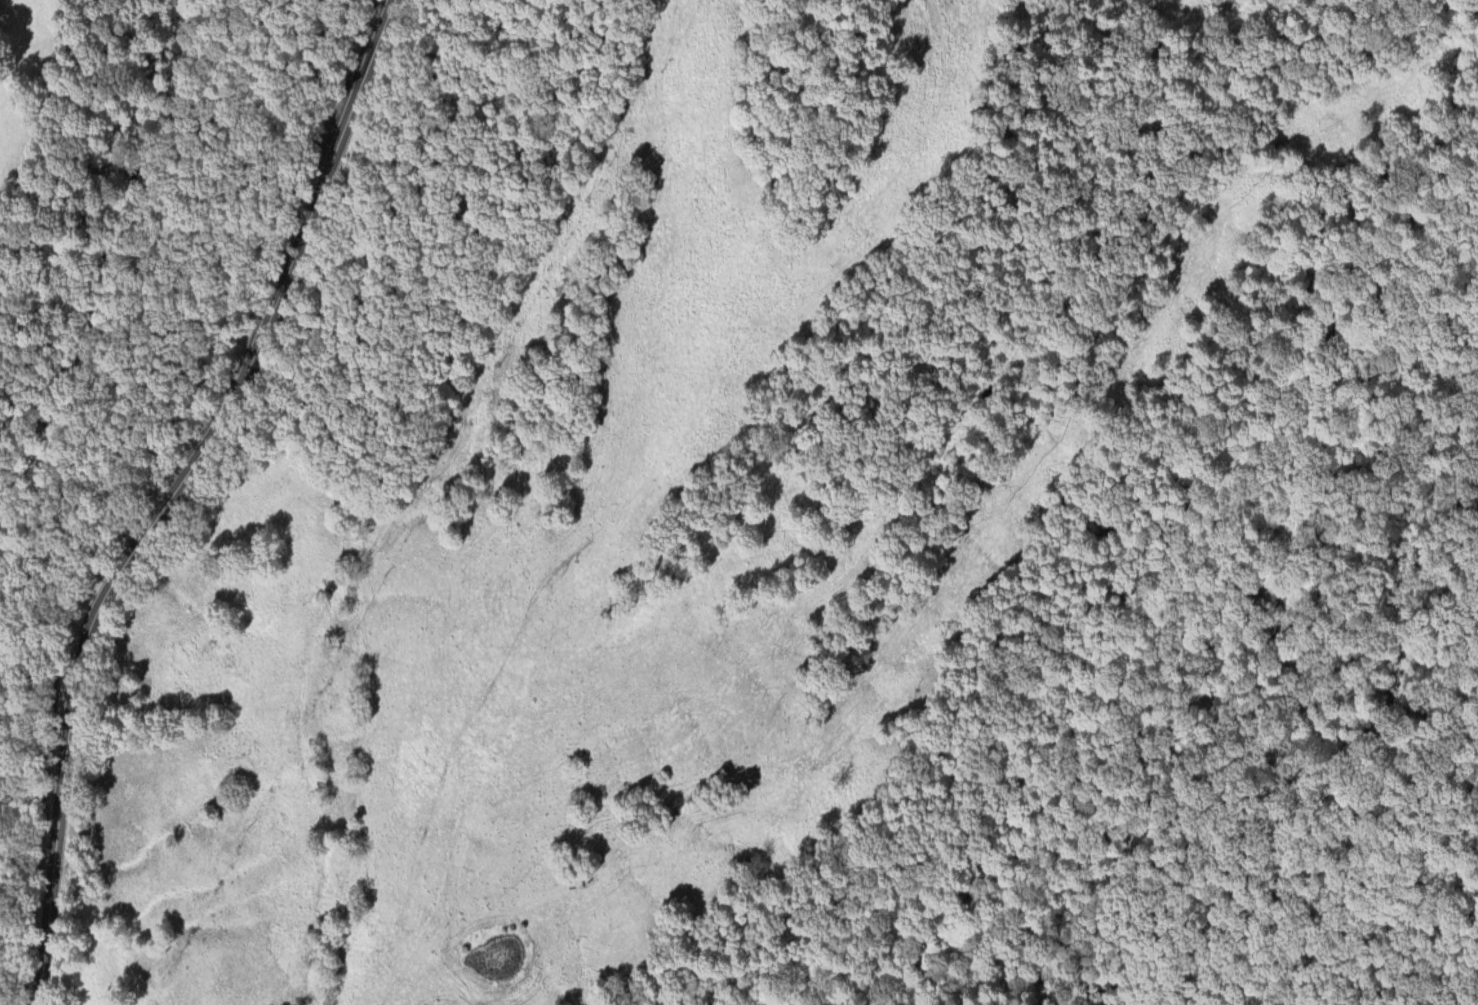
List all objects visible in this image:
road: (167, 491)

